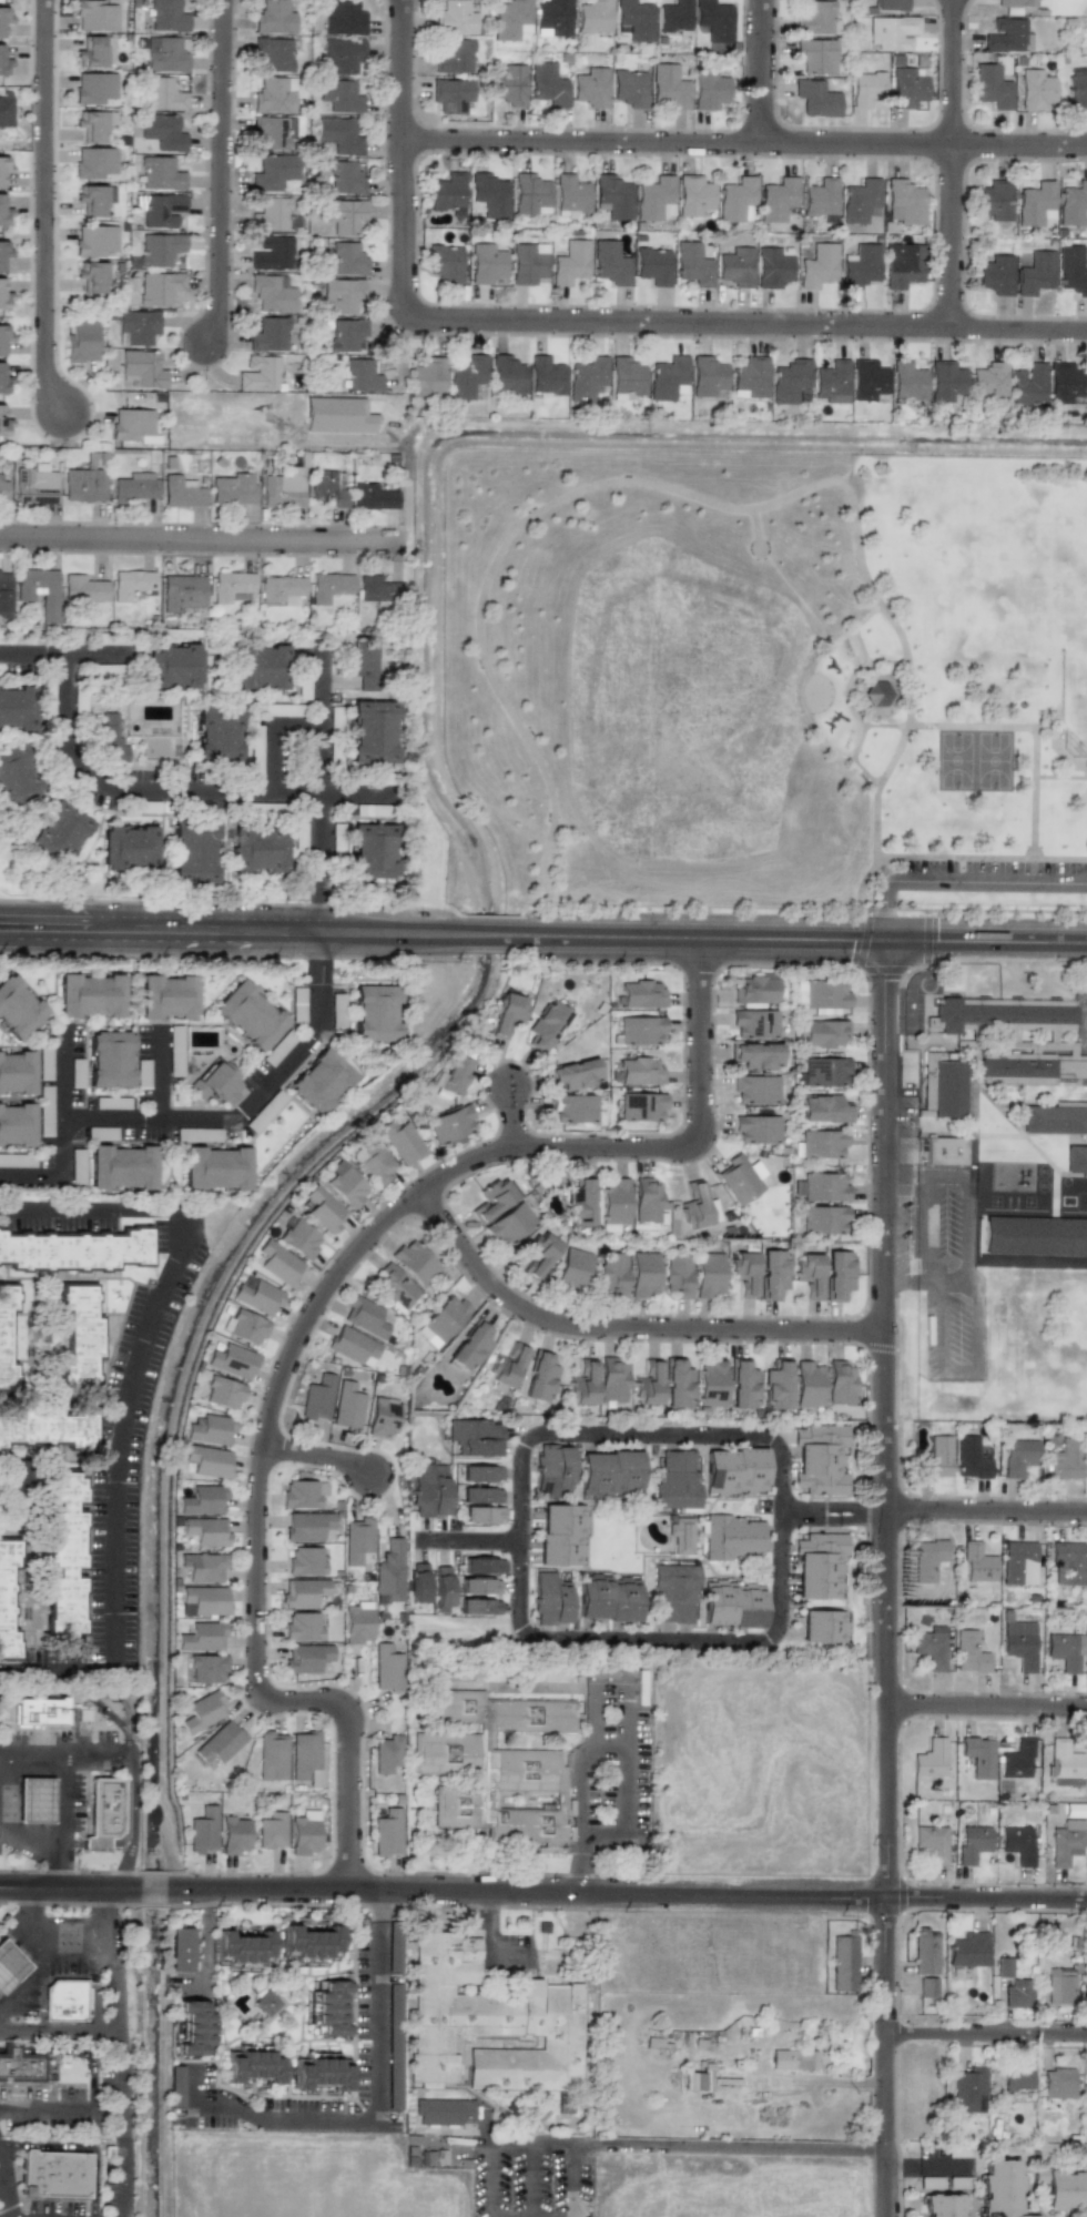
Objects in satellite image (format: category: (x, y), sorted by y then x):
building: (1022, 3)
building: (890, 4)
building: (94, 16)
building: (166, 16)
building: (593, 17)
building: (673, 17)
building: (273, 18)
building: (454, 18)
building: (551, 18)
building: (344, 19)
building: (510, 19)
building: (634, 19)
building: (815, 19)
building: (1, 20)
building: (713, 20)
building: (892, 32)
building: (1007, 36)
building: (92, 52)
building: (274, 53)
building: (164, 54)
building: (342, 54)
building: (453, 55)
building: (815, 55)
building: (3, 63)
road: (759, 72)
building: (509, 84)
building: (547, 84)
building: (668, 87)
building: (991, 87)
building: (94, 88)
building: (590, 88)
building: (629, 88)
building: (866, 88)
building: (1077, 88)
building: (708, 90)
building: (1035, 90)
building: (162, 94)
building: (450, 94)
building: (273, 95)
building: (339, 95)
building: (815, 98)
building: (4, 111)
building: (94, 123)
building: (163, 131)
building: (272, 131)
building: (339, 135)
road: (743, 143)
building: (94, 162)
road: (949, 164)
building: (2, 169)
road: (217, 172)
building: (273, 172)
building: (161, 174)
building: (345, 178)
building: (447, 193)
building: (489, 194)
building: (529, 194)
building: (692, 195)
building: (570, 196)
building: (612, 198)
building: (820, 198)
building: (94, 199)
building: (654, 199)
building: (735, 199)
building: (776, 199)
building: (859, 200)
building: (993, 200)
building: (903, 202)
building: (1033, 203)
building: (1071, 204)
building: (161, 210)
building: (3, 212)
road: (44, 213)
building: (271, 215)
building: (345, 215)
building: (94, 240)
building: (160, 249)
building: (4, 252)
building: (271, 253)
building: (345, 260)
building: (444, 263)
building: (486, 263)
building: (527, 263)
building: (569, 263)
building: (609, 263)
building: (692, 264)
building: (816, 265)
building: (901, 265)
building: (652, 266)
building: (735, 266)
building: (772, 266)
building: (859, 266)
building: (1070, 270)
building: (1034, 273)
building: (995, 275)
building: (92, 276)
building: (159, 287)
building: (271, 293)
building: (342, 295)
building: (3, 297)
road: (583, 323)
building: (138, 326)
building: (268, 334)
building: (345, 335)
building: (3, 336)
building: (81, 342)
building: (143, 368)
building: (258, 373)
building: (506, 375)
building: (545, 375)
building: (360, 376)
building: (465, 376)
building: (705, 376)
building: (427, 377)
building: (749, 377)
building: (586, 378)
building: (626, 378)
building: (666, 378)
building: (866, 379)
building: (3, 381)
building: (789, 381)
building: (906, 381)
building: (831, 382)
building: (944, 382)
building: (987, 382)
building: (1063, 383)
building: (1026, 384)
building: (3, 424)
building: (132, 425)
road: (399, 478)
building: (34, 485)
building: (83, 485)
building: (134, 487)
building: (232, 488)
building: (284, 488)
building: (326, 488)
building: (3, 489)
building: (181, 492)
building: (373, 497)
road: (200, 538)
building: (130, 584)
building: (328, 586)
building: (83, 588)
building: (281, 589)
building: (378, 589)
building: (39, 590)
building: (4, 593)
building: (182, 593)
road: (33, 657)
road: (95, 658)
building: (366, 665)
building: (182, 674)
building: (270, 676)
park: (770, 684)
building: (876, 694)
building: (14, 717)
building: (105, 730)
building: (374, 736)
building: (226, 737)
road: (275, 760)
road: (322, 769)
building: (17, 779)
road: (176, 786)
building: (62, 841)
building: (136, 848)
building: (202, 859)
building: (264, 859)
building: (372, 864)
parking lot: (993, 870)
road: (959, 884)
road: (318, 909)
road: (542, 934)
road: (225, 955)
road: (314, 956)
building: (754, 989)
building: (641, 994)
building: (88, 996)
building: (165, 996)
building: (820, 996)
road: (314, 1009)
building: (16, 1010)
building: (507, 1013)
building: (373, 1015)
building: (995, 1015)
building: (248, 1016)
building: (753, 1023)
building: (545, 1024)
building: (640, 1031)
building: (823, 1033)
building: (756, 1055)
building: (106, 1060)
building: (1029, 1070)
building: (14, 1072)
building: (639, 1072)
building: (823, 1072)
building: (572, 1074)
road: (155, 1075)
building: (453, 1075)
road: (271, 1076)
building: (316, 1081)
building: (216, 1082)
building: (755, 1089)
building: (946, 1089)
road: (60, 1101)
building: (641, 1106)
building: (572, 1108)
building: (823, 1108)
road: (143, 1117)
road: (510, 1117)
building: (1054, 1121)
building: (16, 1124)
building: (449, 1125)
building: (756, 1128)
building: (399, 1142)
building: (821, 1144)
building: (944, 1153)
building: (1075, 1161)
building: (372, 1162)
building: (118, 1168)
building: (214, 1170)
road: (30, 1171)
road: (907, 1171)
road: (948, 1171)
building: (740, 1178)
building: (344, 1184)
building: (821, 1187)
building: (491, 1199)
building: (646, 1202)
building: (579, 1204)
building: (613, 1204)
building: (694, 1206)
building: (323, 1209)
road: (96, 1215)
building: (823, 1218)
building: (509, 1224)
road: (928, 1225)
building: (1034, 1236)
building: (297, 1238)
building: (75, 1249)
building: (538, 1253)
building: (414, 1262)
building: (277, 1263)
building: (570, 1269)
building: (743, 1272)
building: (612, 1274)
building: (642, 1274)
building: (772, 1274)
building: (809, 1274)
road: (963, 1274)
building: (677, 1275)
building: (708, 1275)
building: (836, 1275)
road: (910, 1277)
building: (394, 1286)
building: (256, 1297)
road: (305, 1317)
building: (365, 1317)
building: (441, 1320)
building: (244, 1326)
road: (622, 1327)
building: (933, 1329)
building: (6, 1336)
building: (78, 1336)
road: (939, 1343)
building: (353, 1346)
building: (469, 1348)
building: (232, 1360)
building: (505, 1367)
building: (539, 1377)
building: (611, 1380)
building: (839, 1383)
building: (581, 1384)
building: (647, 1384)
building: (677, 1384)
building: (710, 1384)
building: (741, 1385)
building: (807, 1385)
building: (776, 1386)
building: (222, 1393)
building: (317, 1397)
building: (347, 1404)
building: (383, 1417)
building: (47, 1427)
building: (209, 1429)
road: (118, 1435)
building: (475, 1437)
road: (316, 1456)
building: (1017, 1457)
building: (935, 1458)
building: (820, 1459)
building: (968, 1459)
building: (1064, 1460)
building: (1086, 1460)
building: (206, 1461)
building: (551, 1470)
building: (734, 1471)
building: (481, 1474)
building: (609, 1474)
building: (677, 1479)
building: (428, 1489)
building: (298, 1494)
building: (480, 1495)
building: (201, 1499)
road: (935, 1509)
building: (482, 1515)
building: (308, 1527)
building: (205, 1531)
building: (560, 1535)
building: (681, 1535)
building: (732, 1537)
building: (356, 1540)
road: (471, 1540)
building: (64, 1553)
building: (927, 1559)
building: (305, 1560)
building: (1018, 1562)
building: (1067, 1562)
building: (977, 1563)
building: (482, 1565)
building: (820, 1566)
building: (204, 1567)
road: (524, 1569)
building: (389, 1572)
road: (884, 1578)
building: (418, 1582)
building: (480, 1586)
building: (441, 1589)
building: (303, 1592)
building: (674, 1592)
building: (203, 1599)
building: (550, 1599)
building: (607, 1599)
building: (7, 1603)
building: (732, 1604)
building: (479, 1607)
building: (357, 1624)
building: (822, 1626)
building: (302, 1627)
building: (200, 1637)
building: (931, 1647)
building: (1019, 1650)
building: (1065, 1650)
building: (968, 1652)
building: (305, 1658)
road: (55, 1667)
building: (205, 1668)
building: (386, 1668)
road: (612, 1690)
road: (82, 1693)
road: (985, 1707)
building: (41, 1712)
building: (201, 1712)
road: (599, 1729)
building: (217, 1745)
road: (613, 1747)
building: (272, 1754)
building: (304, 1754)
building: (387, 1754)
road: (133, 1755)
building: (978, 1755)
road: (627, 1757)
building: (929, 1759)
building: (1017, 1760)
building: (1065, 1763)
building: (498, 1769)
road: (585, 1800)
building: (32, 1801)
building: (103, 1812)
road: (59, 1821)
road: (123, 1828)
building: (203, 1830)
road: (606, 1830)
building: (272, 1831)
building: (304, 1832)
building: (387, 1832)
building: (234, 1835)
road: (29, 1836)
building: (1066, 1842)
building: (931, 1843)
building: (972, 1843)
building: (1017, 1844)
road: (585, 1866)
road: (68, 1871)
road: (542, 1895)
road: (296, 1902)
road: (105, 1921)
road: (33, 1923)
road: (203, 1940)
road: (490, 1940)
building: (313, 1941)
building: (244, 1945)
building: (1086, 1945)
building: (179, 1950)
building: (967, 1950)
building: (925, 1953)
road: (77, 1955)
building: (843, 1963)
building: (10, 1966)
building: (1003, 1966)
road: (22, 1977)
building: (1060, 1986)
building: (926, 1987)
road: (113, 1992)
building: (1017, 1994)
building: (1084, 1996)
building: (62, 2003)
building: (267, 2005)
building: (329, 2008)
building: (489, 2025)
building: (192, 2026)
road: (59, 2032)
road: (984, 2035)
road: (71, 2049)
building: (792, 2059)
building: (253, 2065)
building: (21, 2067)
road: (118, 2069)
building: (321, 2073)
building: (1017, 2081)
building: (1057, 2083)
building: (175, 2086)
building: (968, 2091)
building: (1086, 2100)
road: (47, 2107)
road: (106, 2108)
building: (444, 2112)
road: (377, 2114)
road: (94, 2118)
road: (48, 2145)
road: (685, 2147)
road: (13, 2155)
road: (118, 2163)
building: (52, 2174)
parking lot: (530, 2177)
road: (488, 2179)
road: (573, 2179)
road: (535, 2180)
road: (92, 2185)
building: (1000, 2188)
building: (1065, 2189)
road: (59, 2199)
road: (3, 2200)
building: (943, 2205)
road: (510, 2214)

